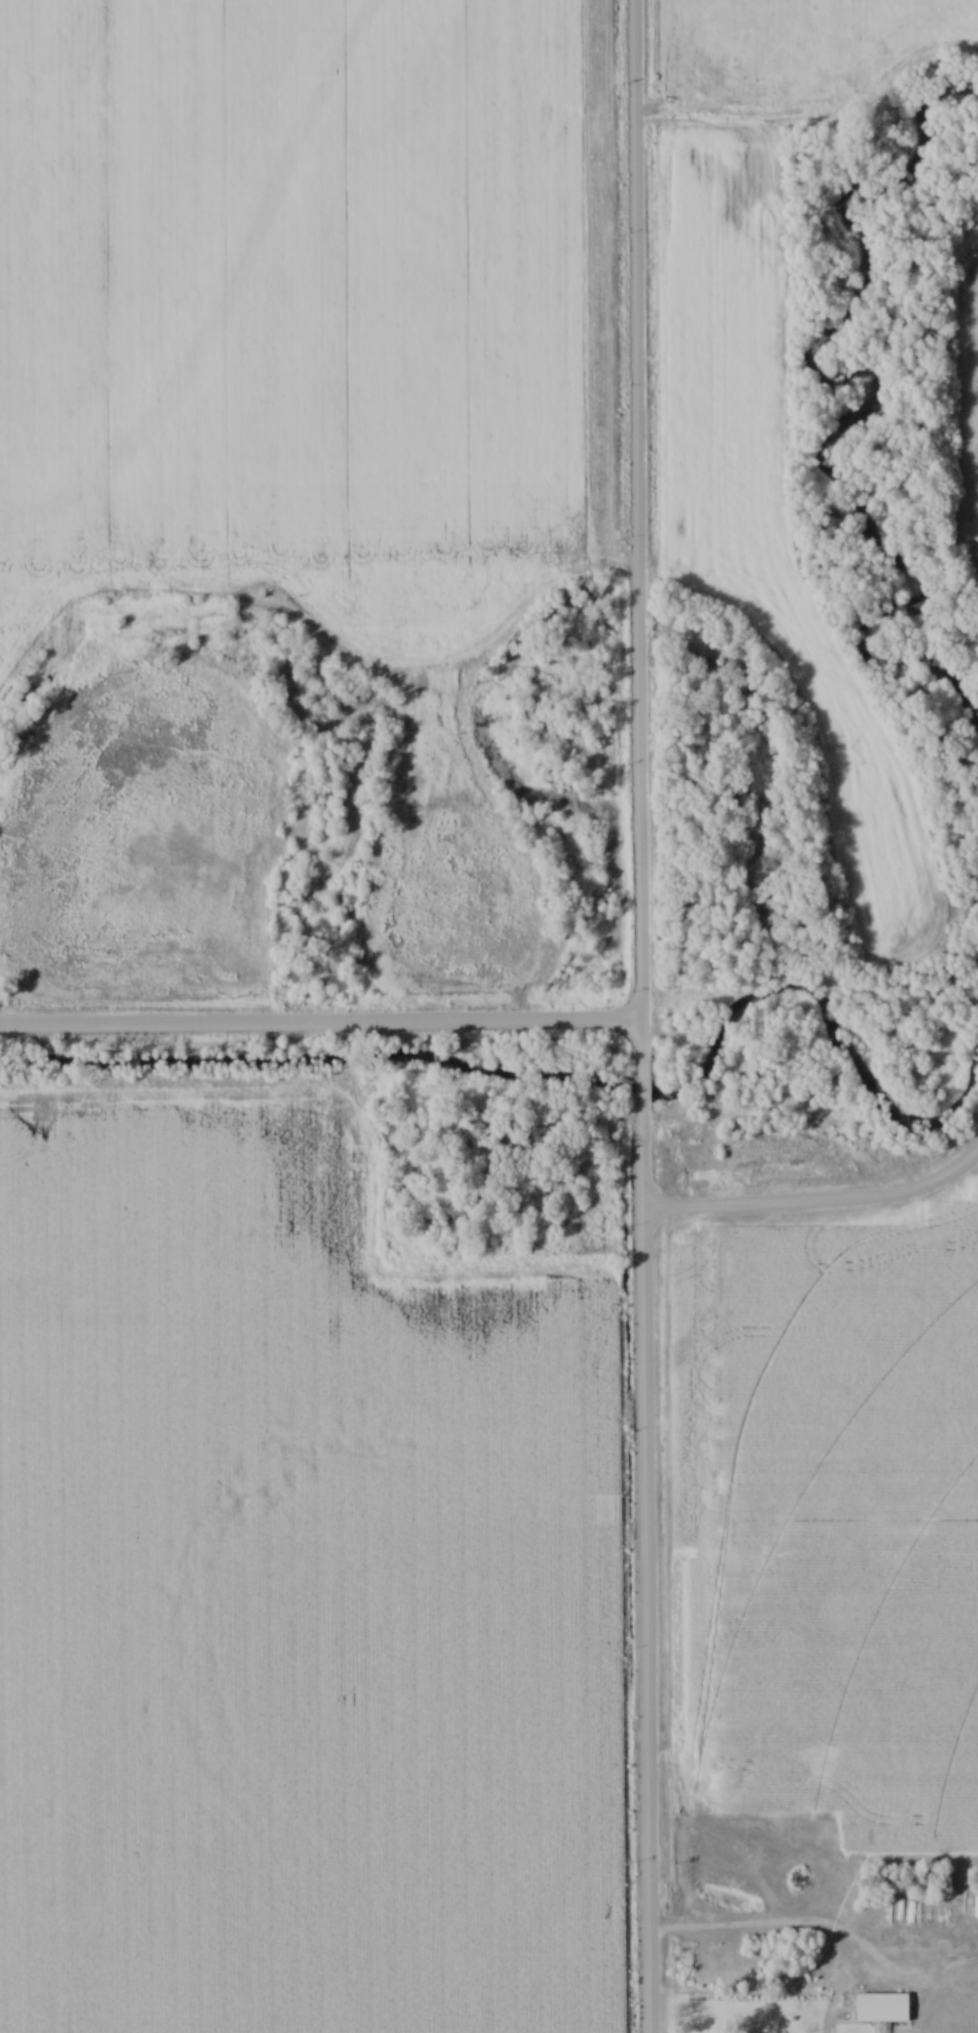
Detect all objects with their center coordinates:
river: (862, 411)
road: (635, 534)
road: (320, 1022)
river: (563, 1076)
road: (640, 1084)
road: (817, 1203)
road: (643, 1566)
building: (882, 2009)

